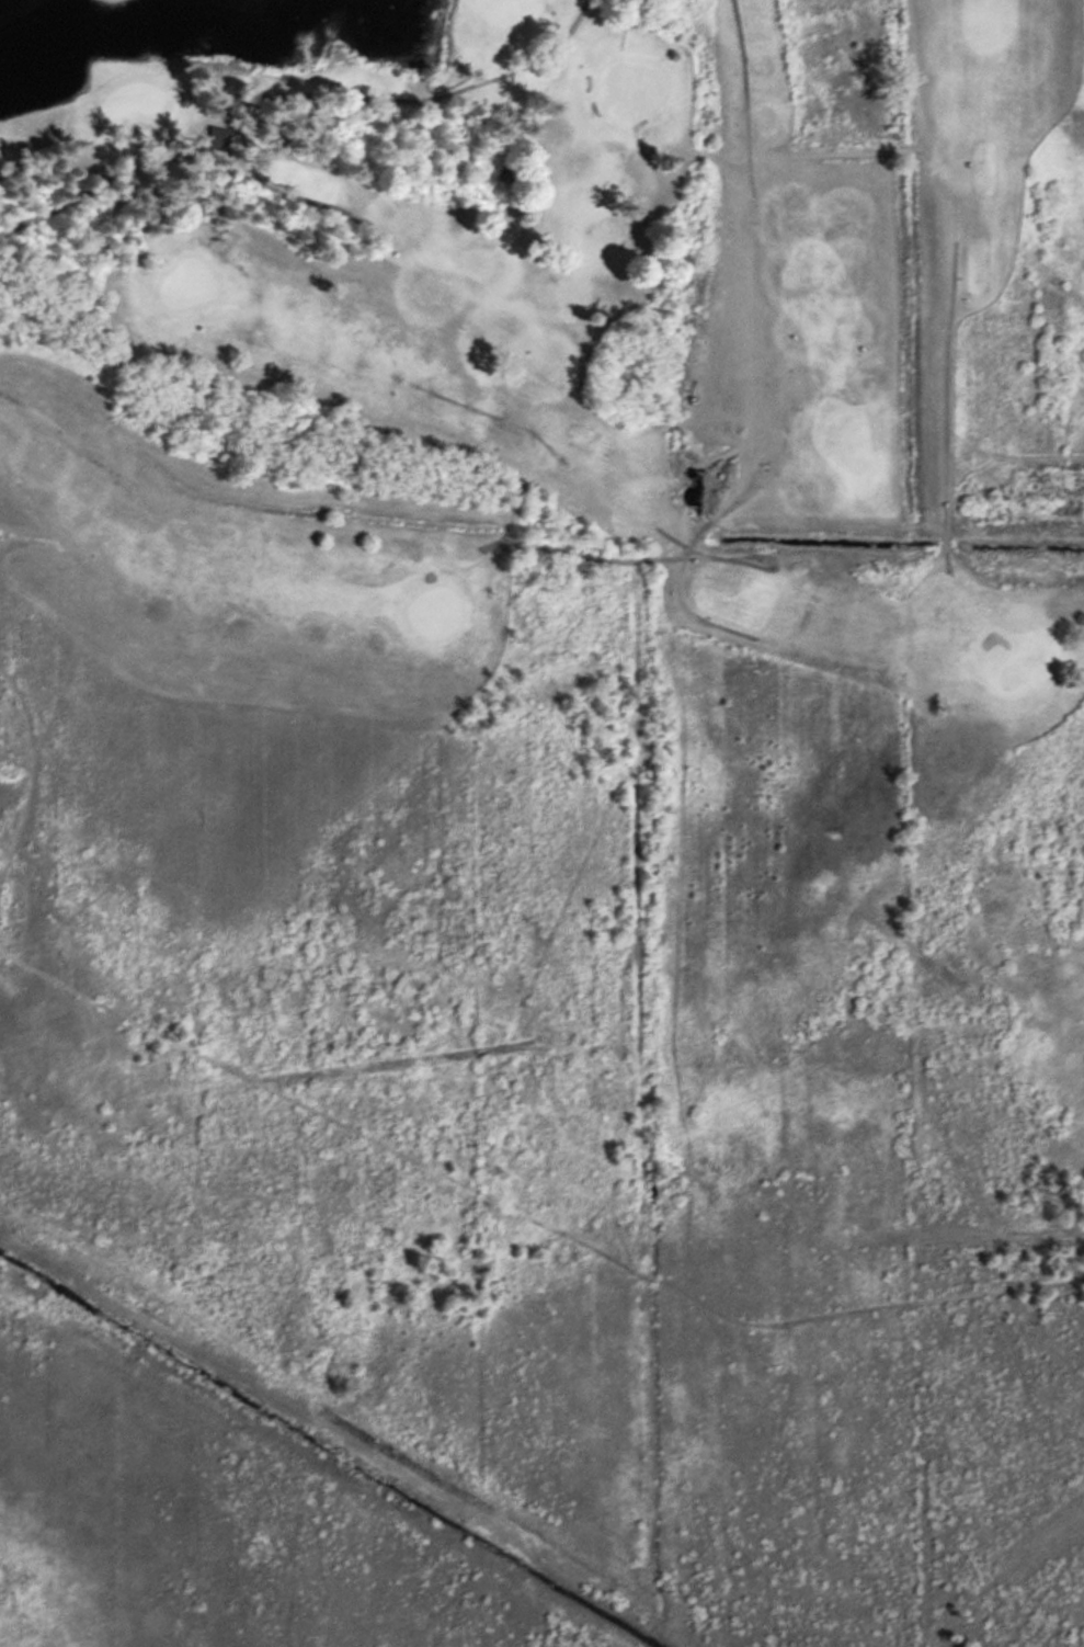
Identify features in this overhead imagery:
park: (534, 338)

